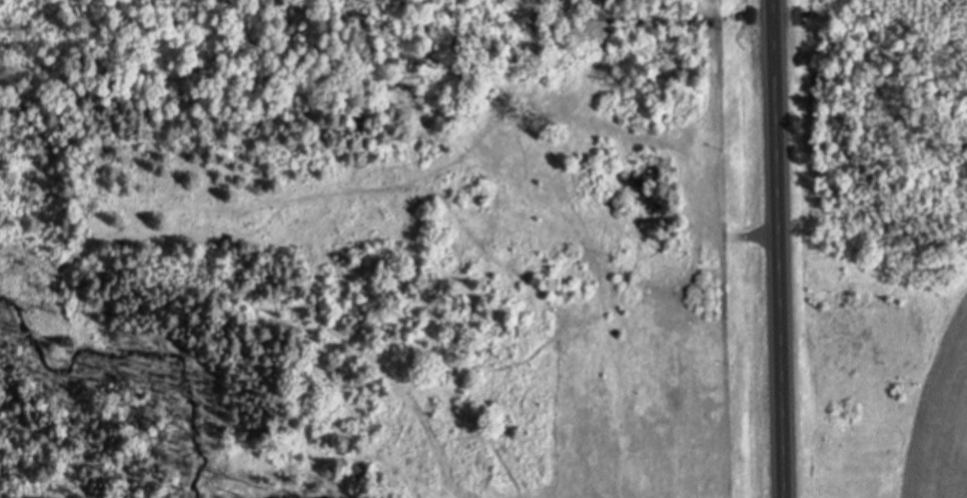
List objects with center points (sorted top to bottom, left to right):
road: (776, 249)

